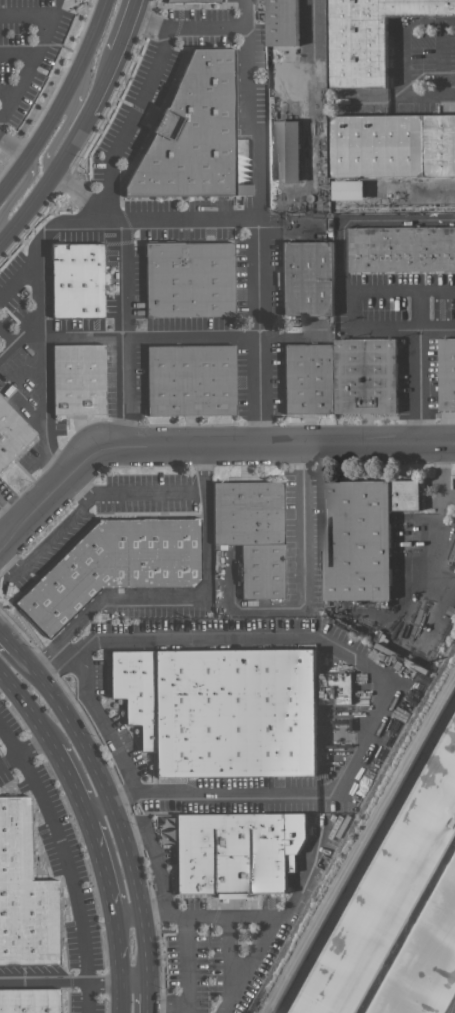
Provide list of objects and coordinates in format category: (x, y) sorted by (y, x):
building: (183, 0)
building: (282, 22)
road: (124, 26)
road: (184, 29)
building: (367, 38)
road: (40, 42)
road: (18, 52)
road: (310, 52)
road: (401, 57)
road: (441, 57)
road: (102, 82)
road: (7, 92)
road: (58, 96)
road: (129, 117)
road: (67, 120)
building: (191, 134)
road: (13, 144)
building: (392, 146)
building: (287, 151)
road: (46, 177)
road: (258, 180)
building: (348, 189)
road: (76, 191)
road: (16, 192)
road: (363, 222)
building: (401, 249)
building: (306, 278)
building: (188, 279)
building: (76, 280)
road: (398, 292)
road: (37, 322)
road: (388, 326)
road: (18, 332)
road: (119, 332)
road: (256, 333)
road: (78, 336)
road: (188, 336)
road: (417, 368)
building: (447, 375)
building: (365, 376)
building: (77, 379)
building: (309, 379)
building: (189, 380)
building: (11, 434)
road: (207, 446)
road: (443, 474)
road: (77, 486)
road: (103, 495)
road: (8, 517)
road: (302, 524)
building: (252, 533)
building: (361, 535)
building: (113, 566)
road: (156, 596)
road: (297, 635)
road: (7, 639)
building: (336, 687)
road: (94, 707)
road: (28, 708)
building: (220, 709)
road: (25, 748)
road: (2, 763)
road: (69, 779)
road: (205, 790)
road: (110, 802)
building: (166, 829)
road: (356, 834)
building: (236, 852)
road: (67, 864)
road: (102, 866)
road: (307, 868)
building: (24, 894)
road: (201, 912)
river: (408, 929)
road: (228, 955)
road: (249, 962)
road: (120, 966)
road: (34, 980)
road: (189, 980)
road: (108, 982)
road: (149, 997)
building: (31, 1001)
road: (189, 1011)

